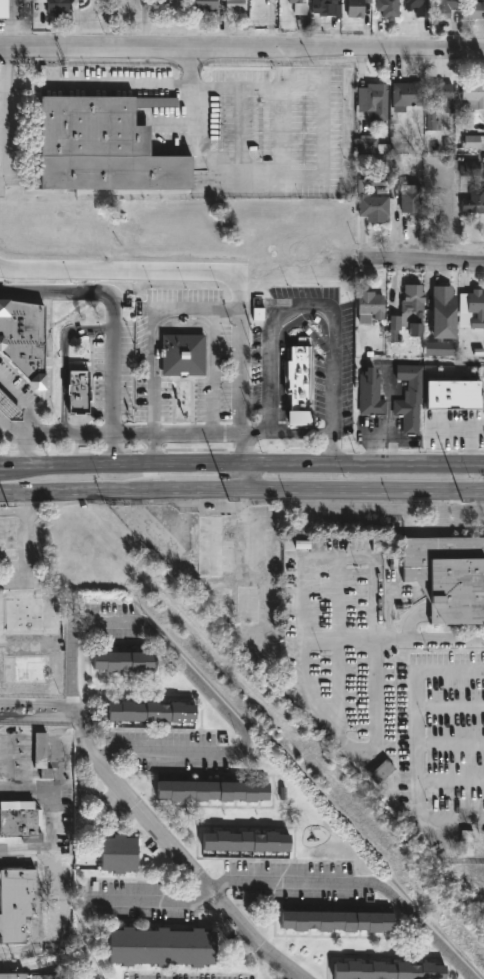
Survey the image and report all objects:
building: (172, 5)
building: (206, 5)
building: (236, 6)
building: (58, 7)
building: (300, 7)
building: (325, 7)
building: (420, 7)
building: (448, 7)
building: (357, 8)
building: (389, 8)
building: (3, 10)
building: (475, 10)
road: (242, 48)
road: (280, 68)
road: (0, 74)
road: (120, 84)
building: (474, 93)
building: (408, 95)
building: (374, 101)
building: (441, 104)
road: (1, 113)
road: (174, 125)
road: (241, 132)
road: (280, 132)
building: (373, 145)
building: (106, 146)
road: (320, 161)
building: (479, 187)
building: (412, 200)
building: (373, 203)
road: (423, 264)
road: (135, 273)
building: (369, 304)
road: (320, 305)
building: (477, 308)
road: (189, 310)
building: (414, 312)
building: (443, 317)
building: (24, 340)
road: (280, 348)
building: (182, 355)
road: (111, 371)
road: (210, 372)
building: (297, 379)
building: (77, 390)
building: (371, 394)
building: (409, 396)
building: (9, 409)
gas station: (9, 409)
road: (30, 415)
building: (441, 428)
road: (274, 433)
road: (305, 433)
road: (71, 434)
road: (382, 435)
road: (249, 438)
road: (241, 461)
road: (243, 475)
road: (241, 489)
road: (241, 500)
road: (30, 501)
power tower: (228, 501)
power tower: (463, 501)
power tower: (7, 508)
road: (13, 511)
building: (9, 538)
road: (338, 556)
road: (27, 557)
building: (227, 565)
road: (13, 566)
building: (448, 576)
building: (24, 612)
road: (430, 641)
road: (338, 642)
building: (125, 661)
building: (28, 670)
road: (198, 681)
railway: (243, 685)
road: (35, 703)
building: (152, 710)
road: (35, 716)
road: (415, 742)
road: (353, 745)
building: (42, 755)
building: (382, 771)
building: (215, 790)
road: (27, 791)
building: (18, 821)
building: (248, 840)
building: (468, 842)
road: (173, 851)
building: (120, 853)
road: (10, 857)
road: (357, 884)
road: (154, 902)
building: (17, 903)
building: (339, 921)
building: (162, 947)
building: (389, 971)
building: (13, 976)
road: (291, 978)

